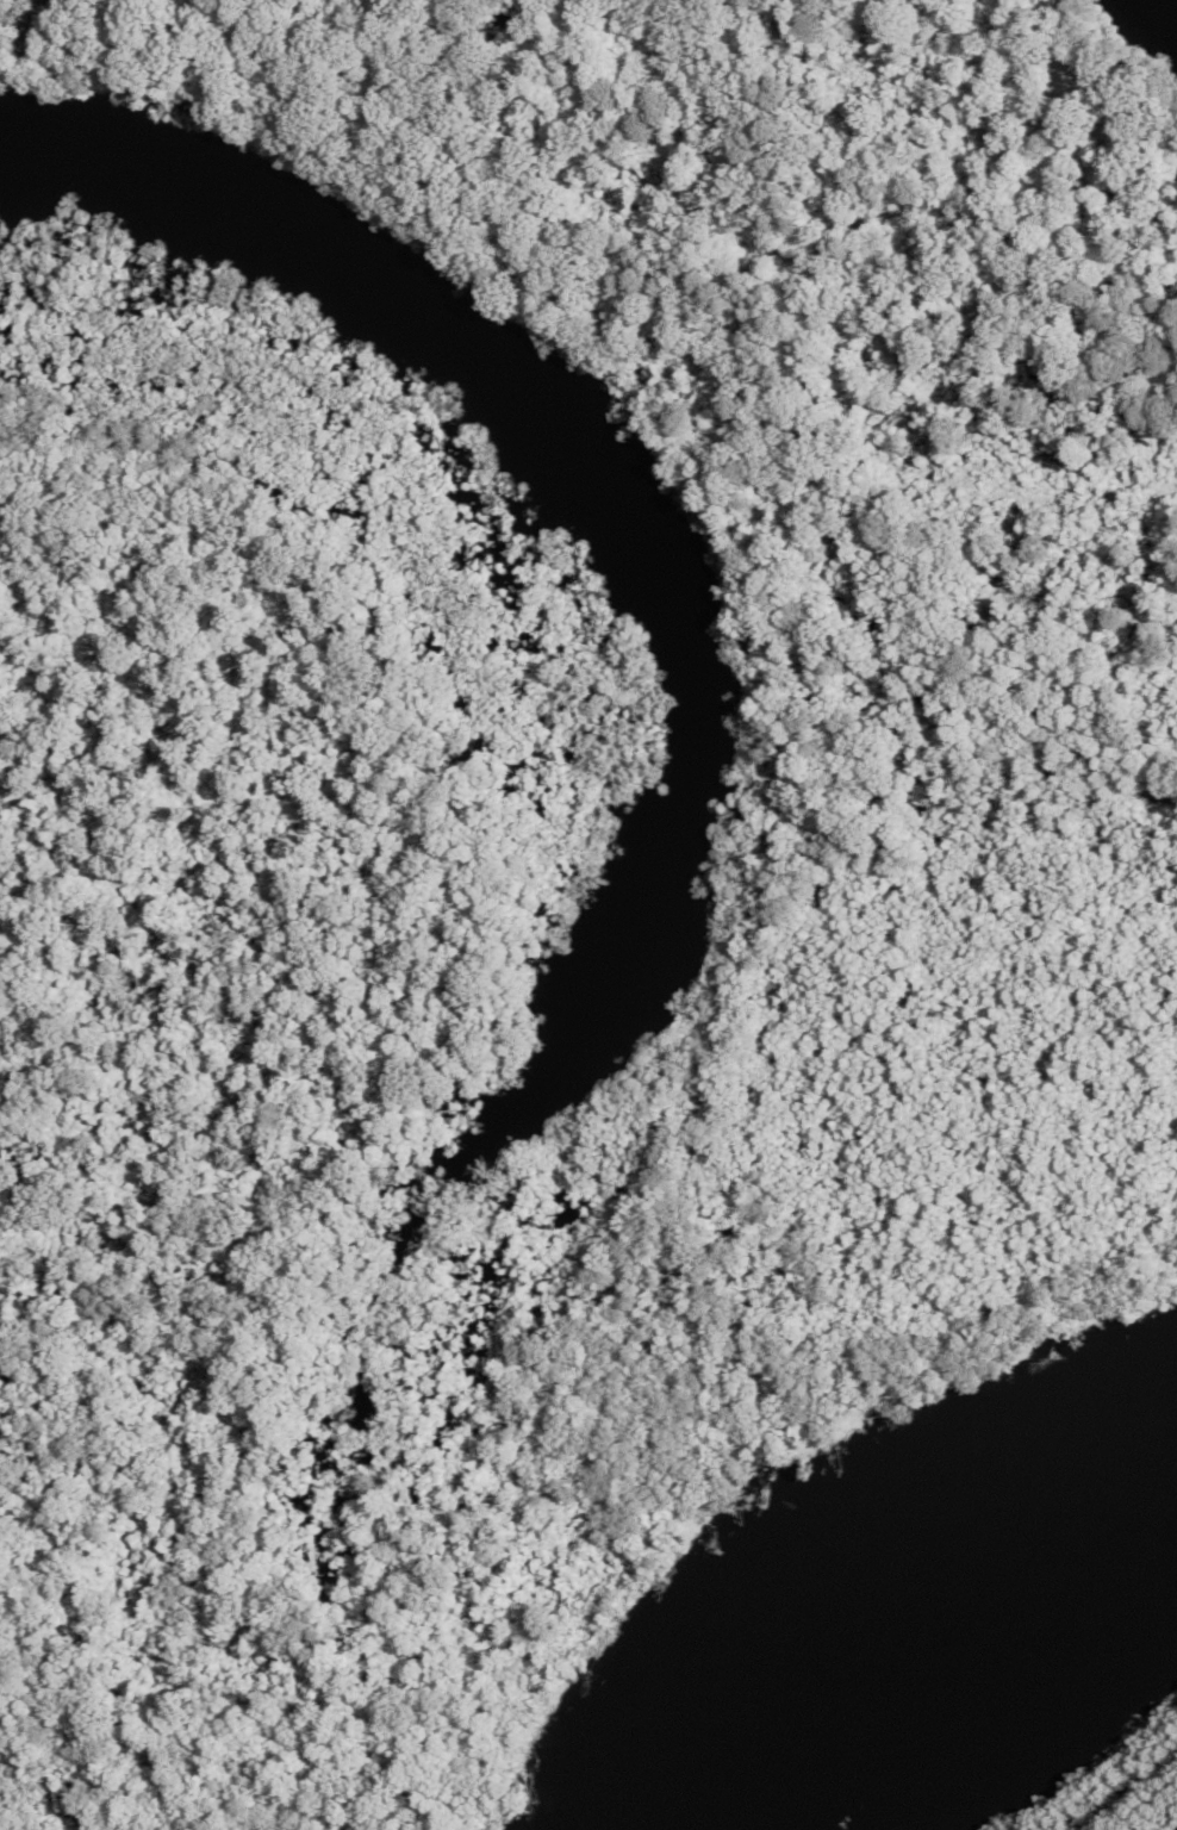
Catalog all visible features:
road: (827, 269)
river: (972, 1676)

